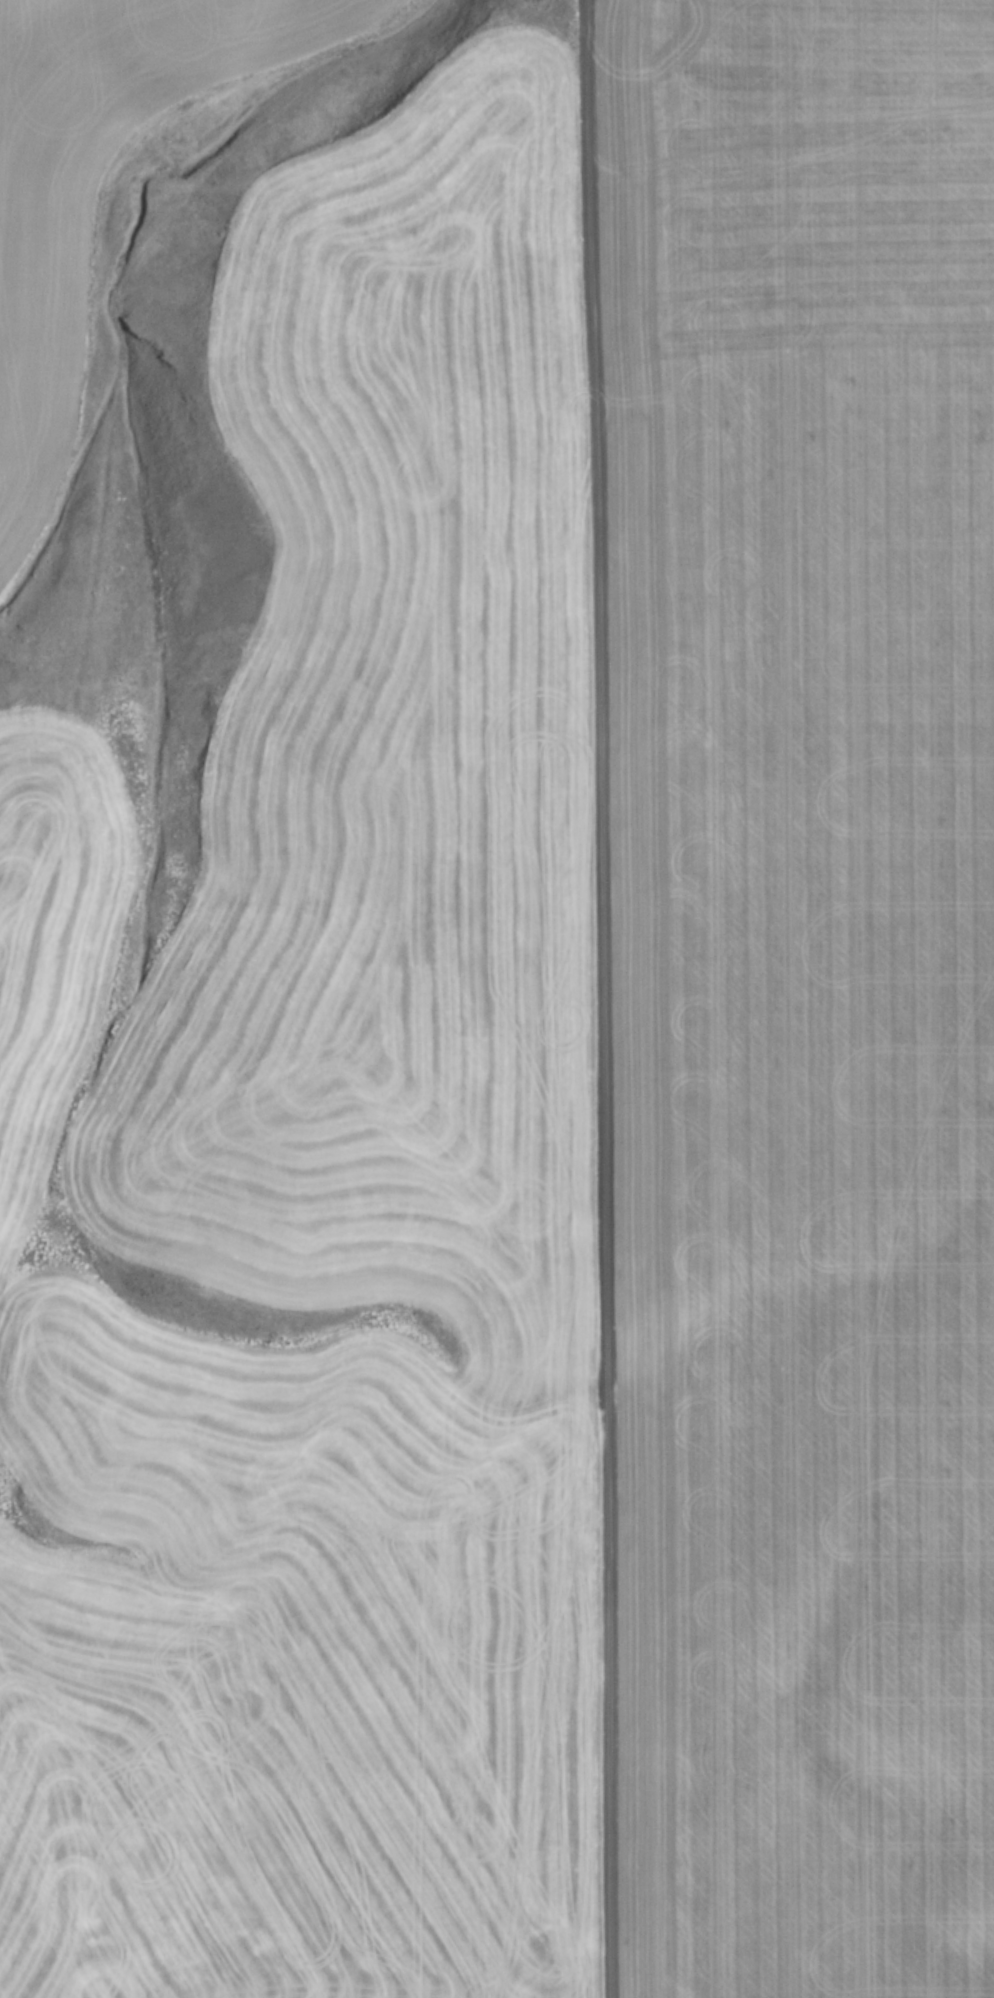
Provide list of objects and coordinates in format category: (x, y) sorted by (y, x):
road: (597, 998)

